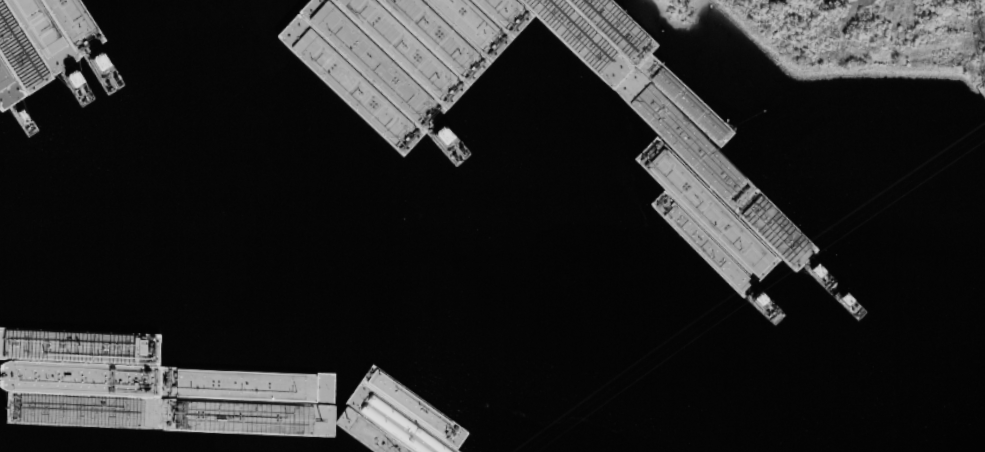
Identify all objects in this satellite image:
landfill: (869, 45)

